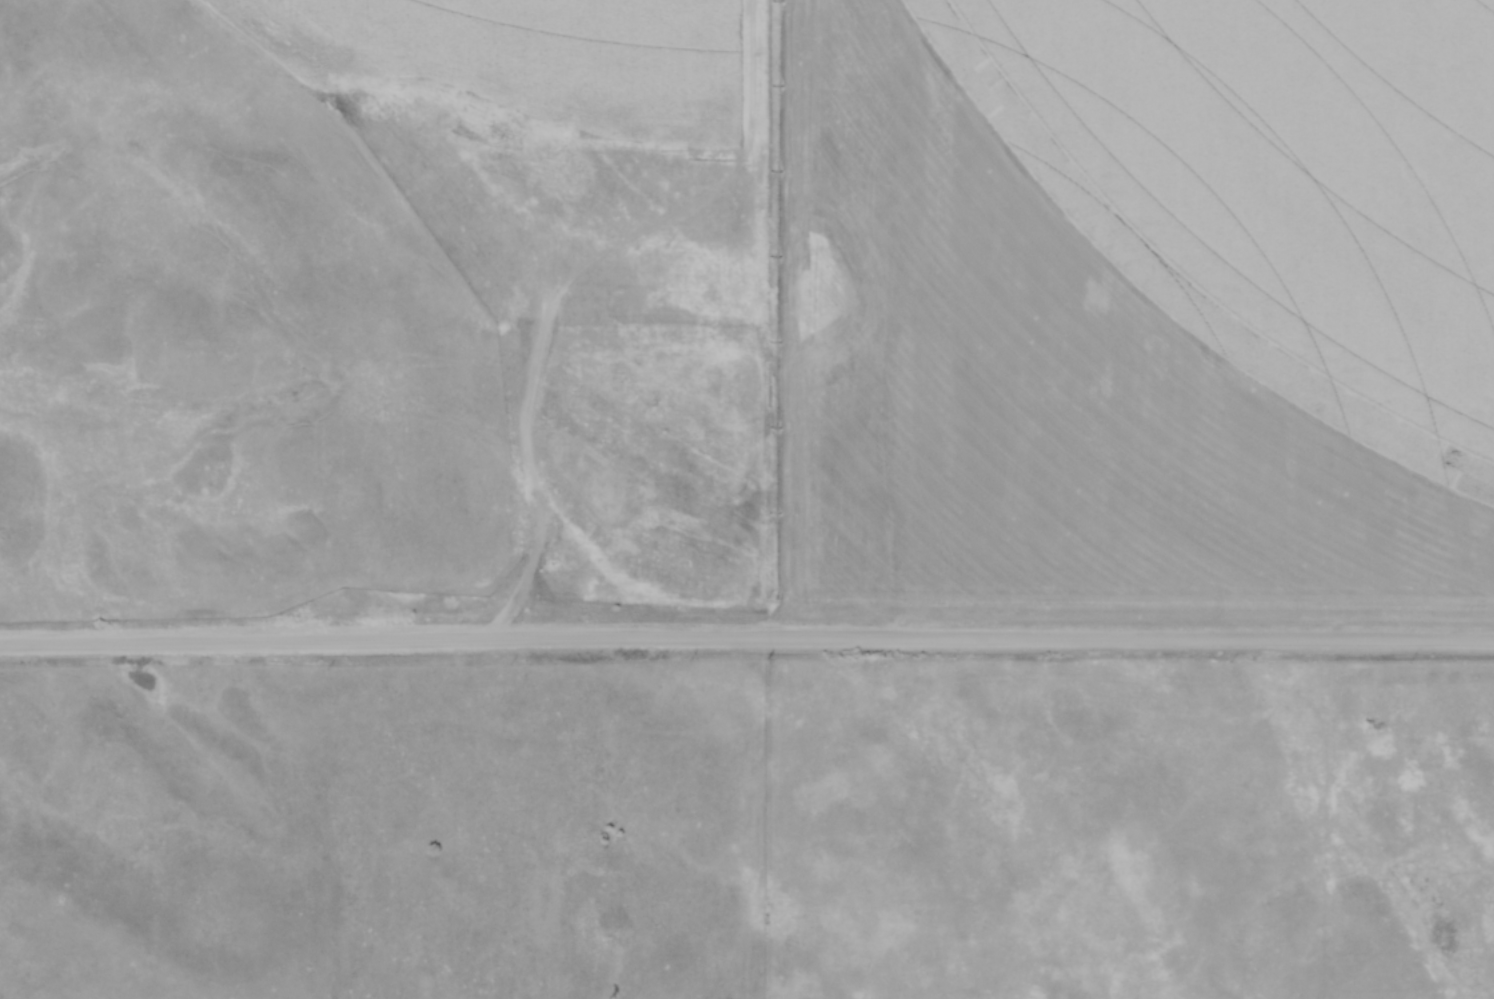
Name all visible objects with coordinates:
road: (746, 638)

